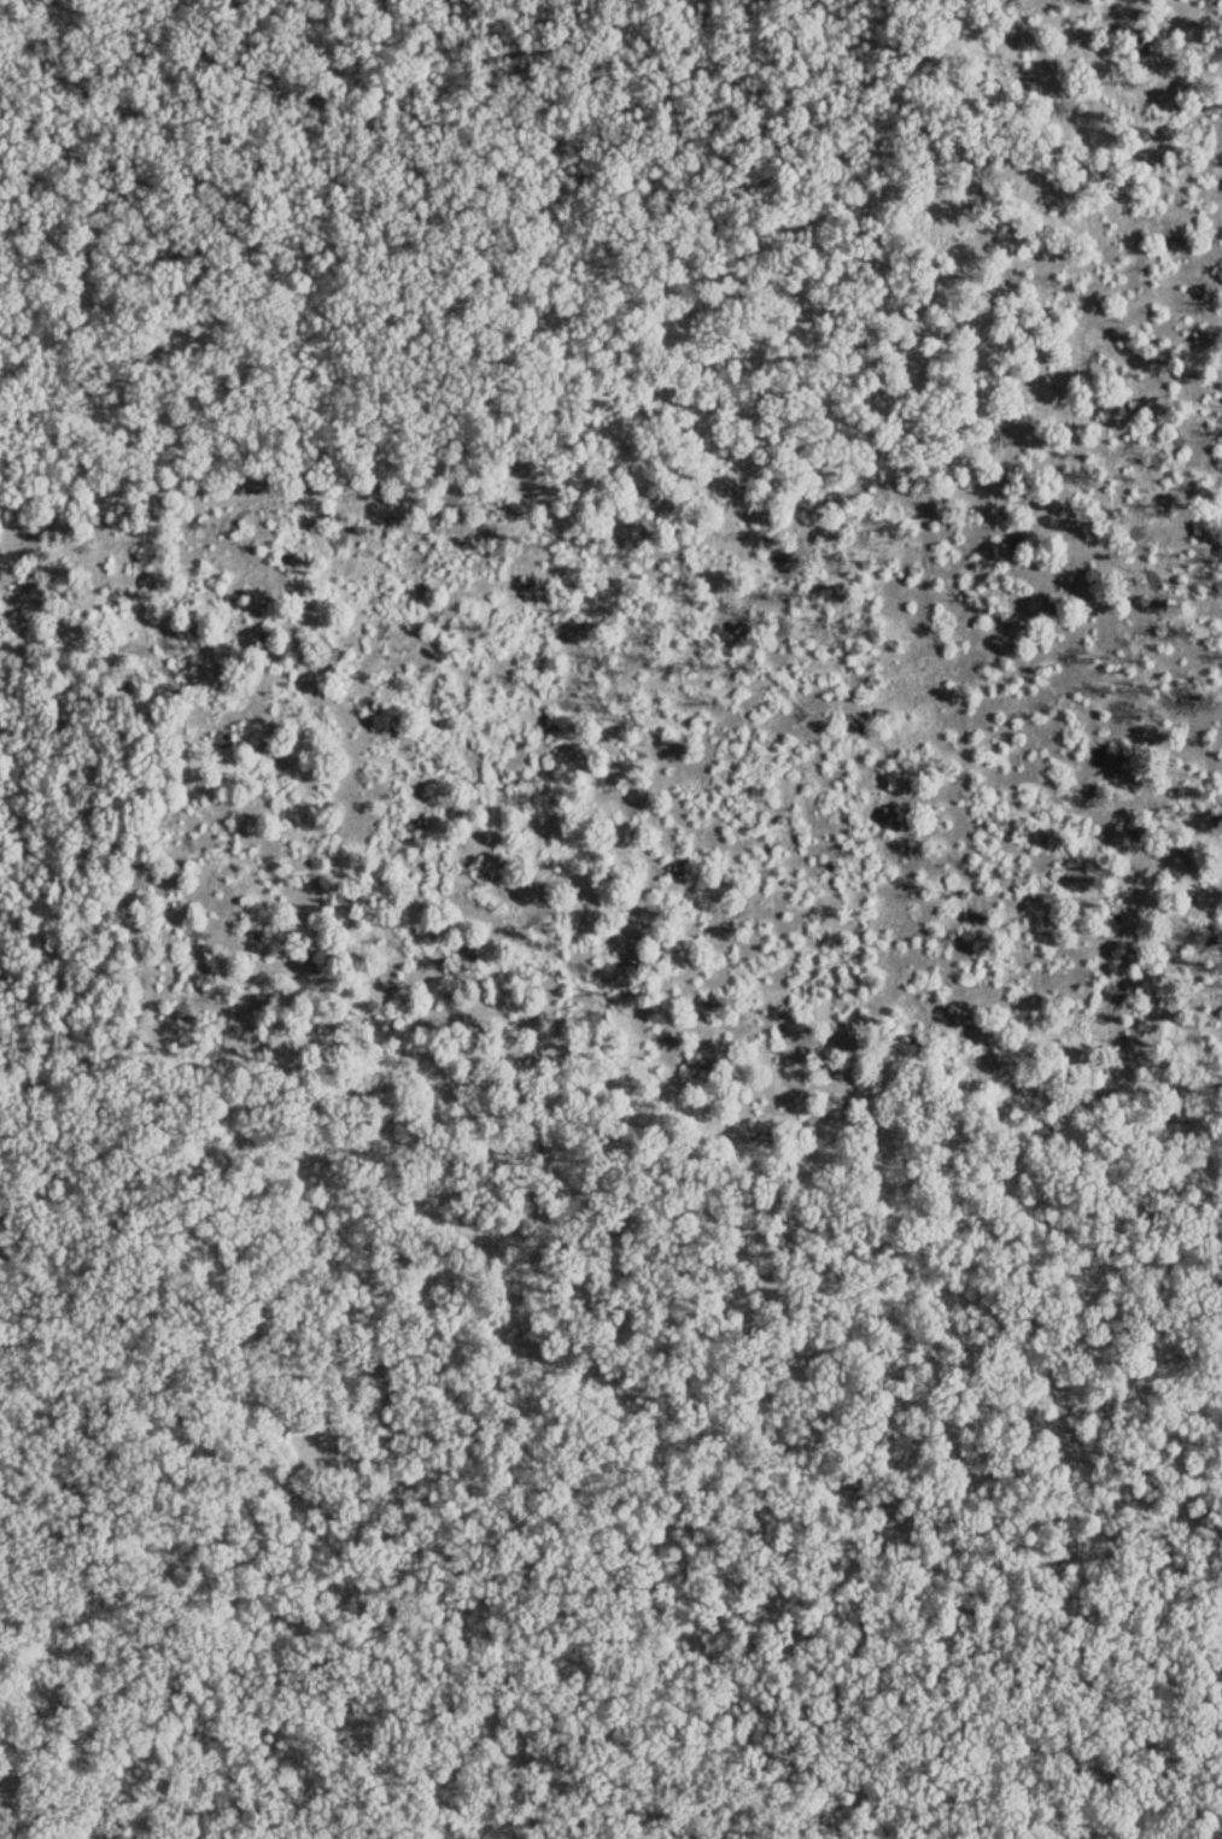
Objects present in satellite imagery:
road: (168, 1554)

